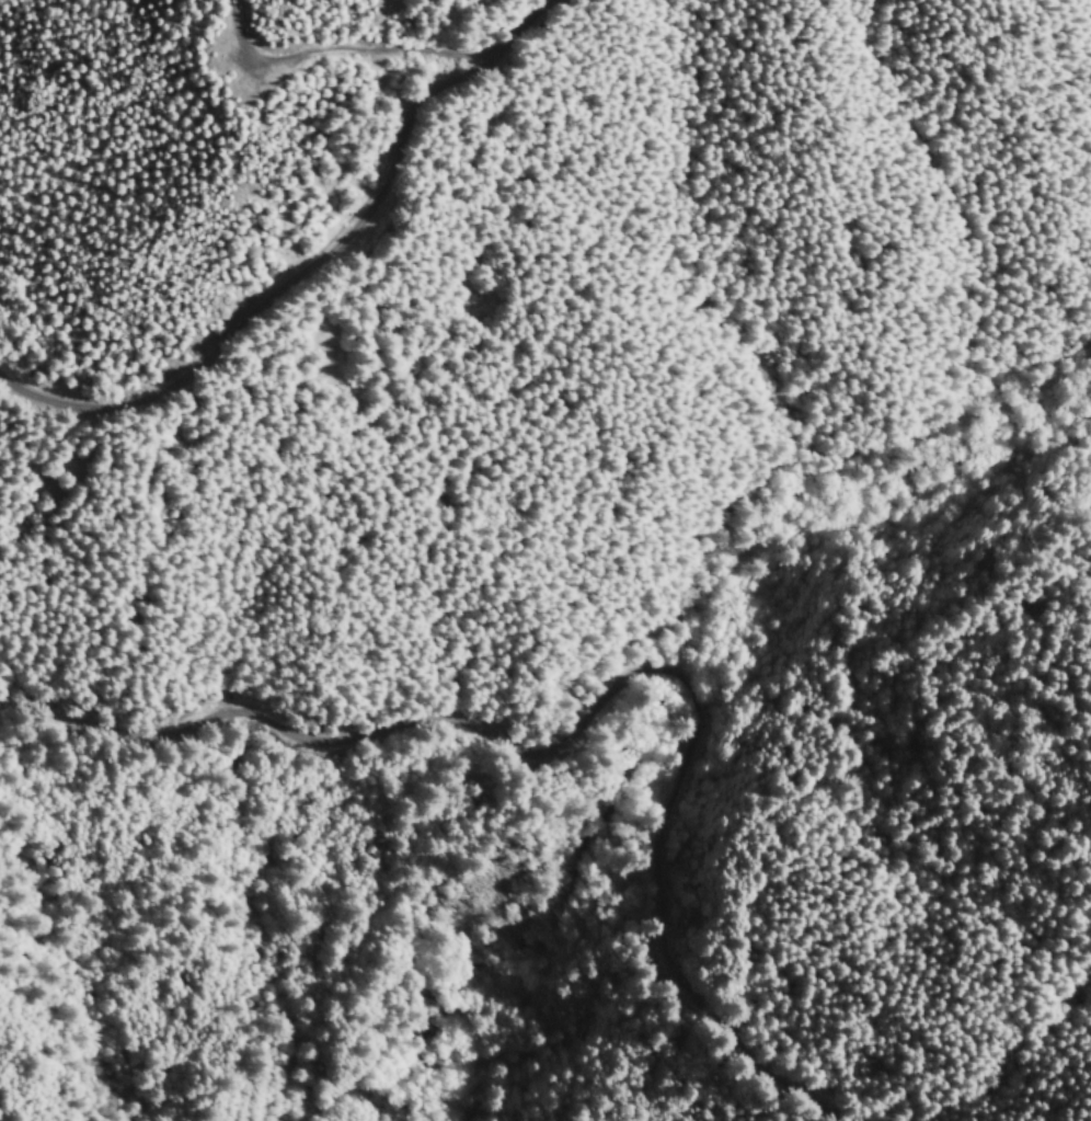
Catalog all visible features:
road: (748, 641)
road: (411, 656)
road: (996, 665)

